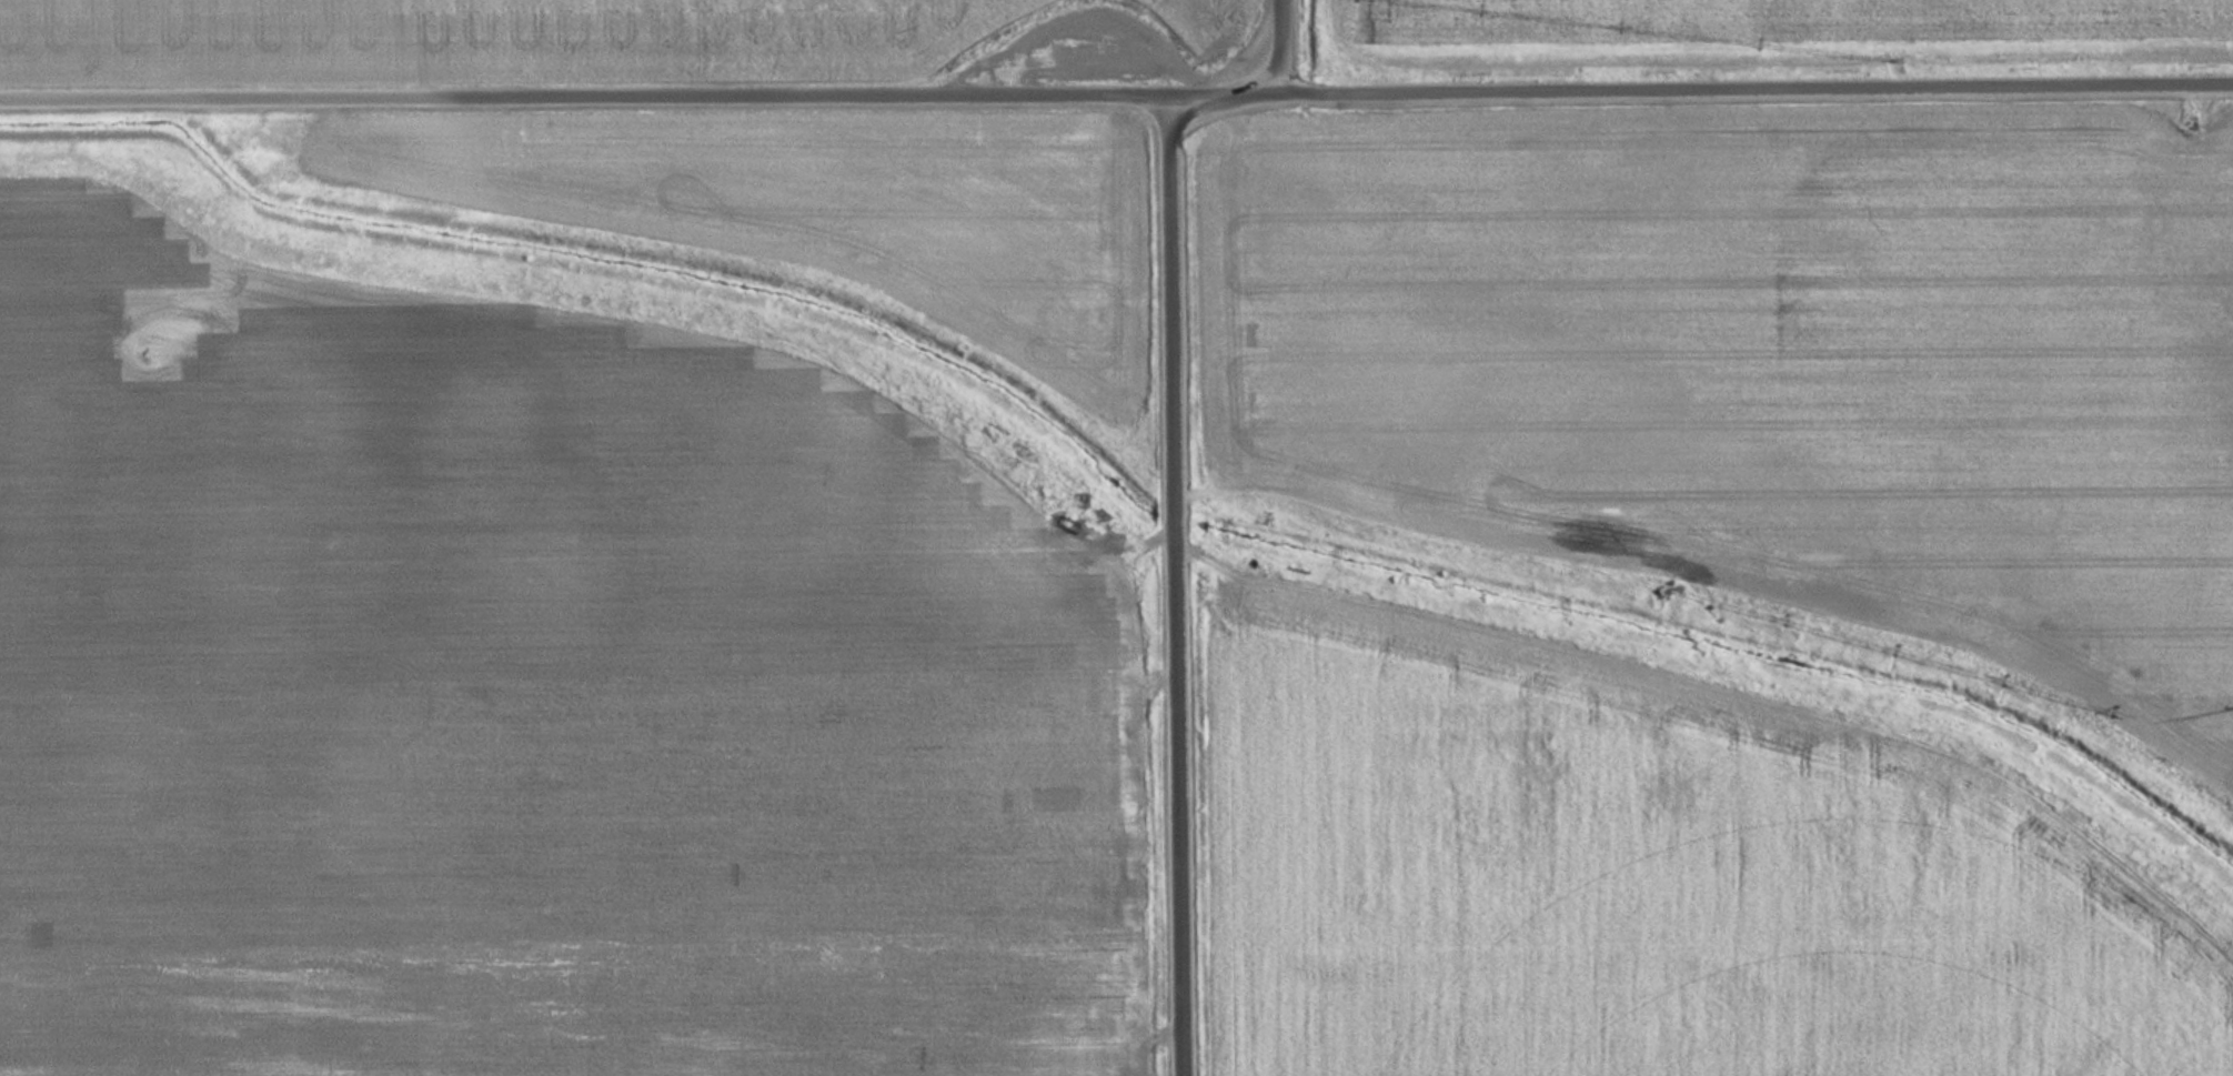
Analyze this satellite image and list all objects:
road: (1288, 48)
road: (1116, 91)
road: (1183, 583)

